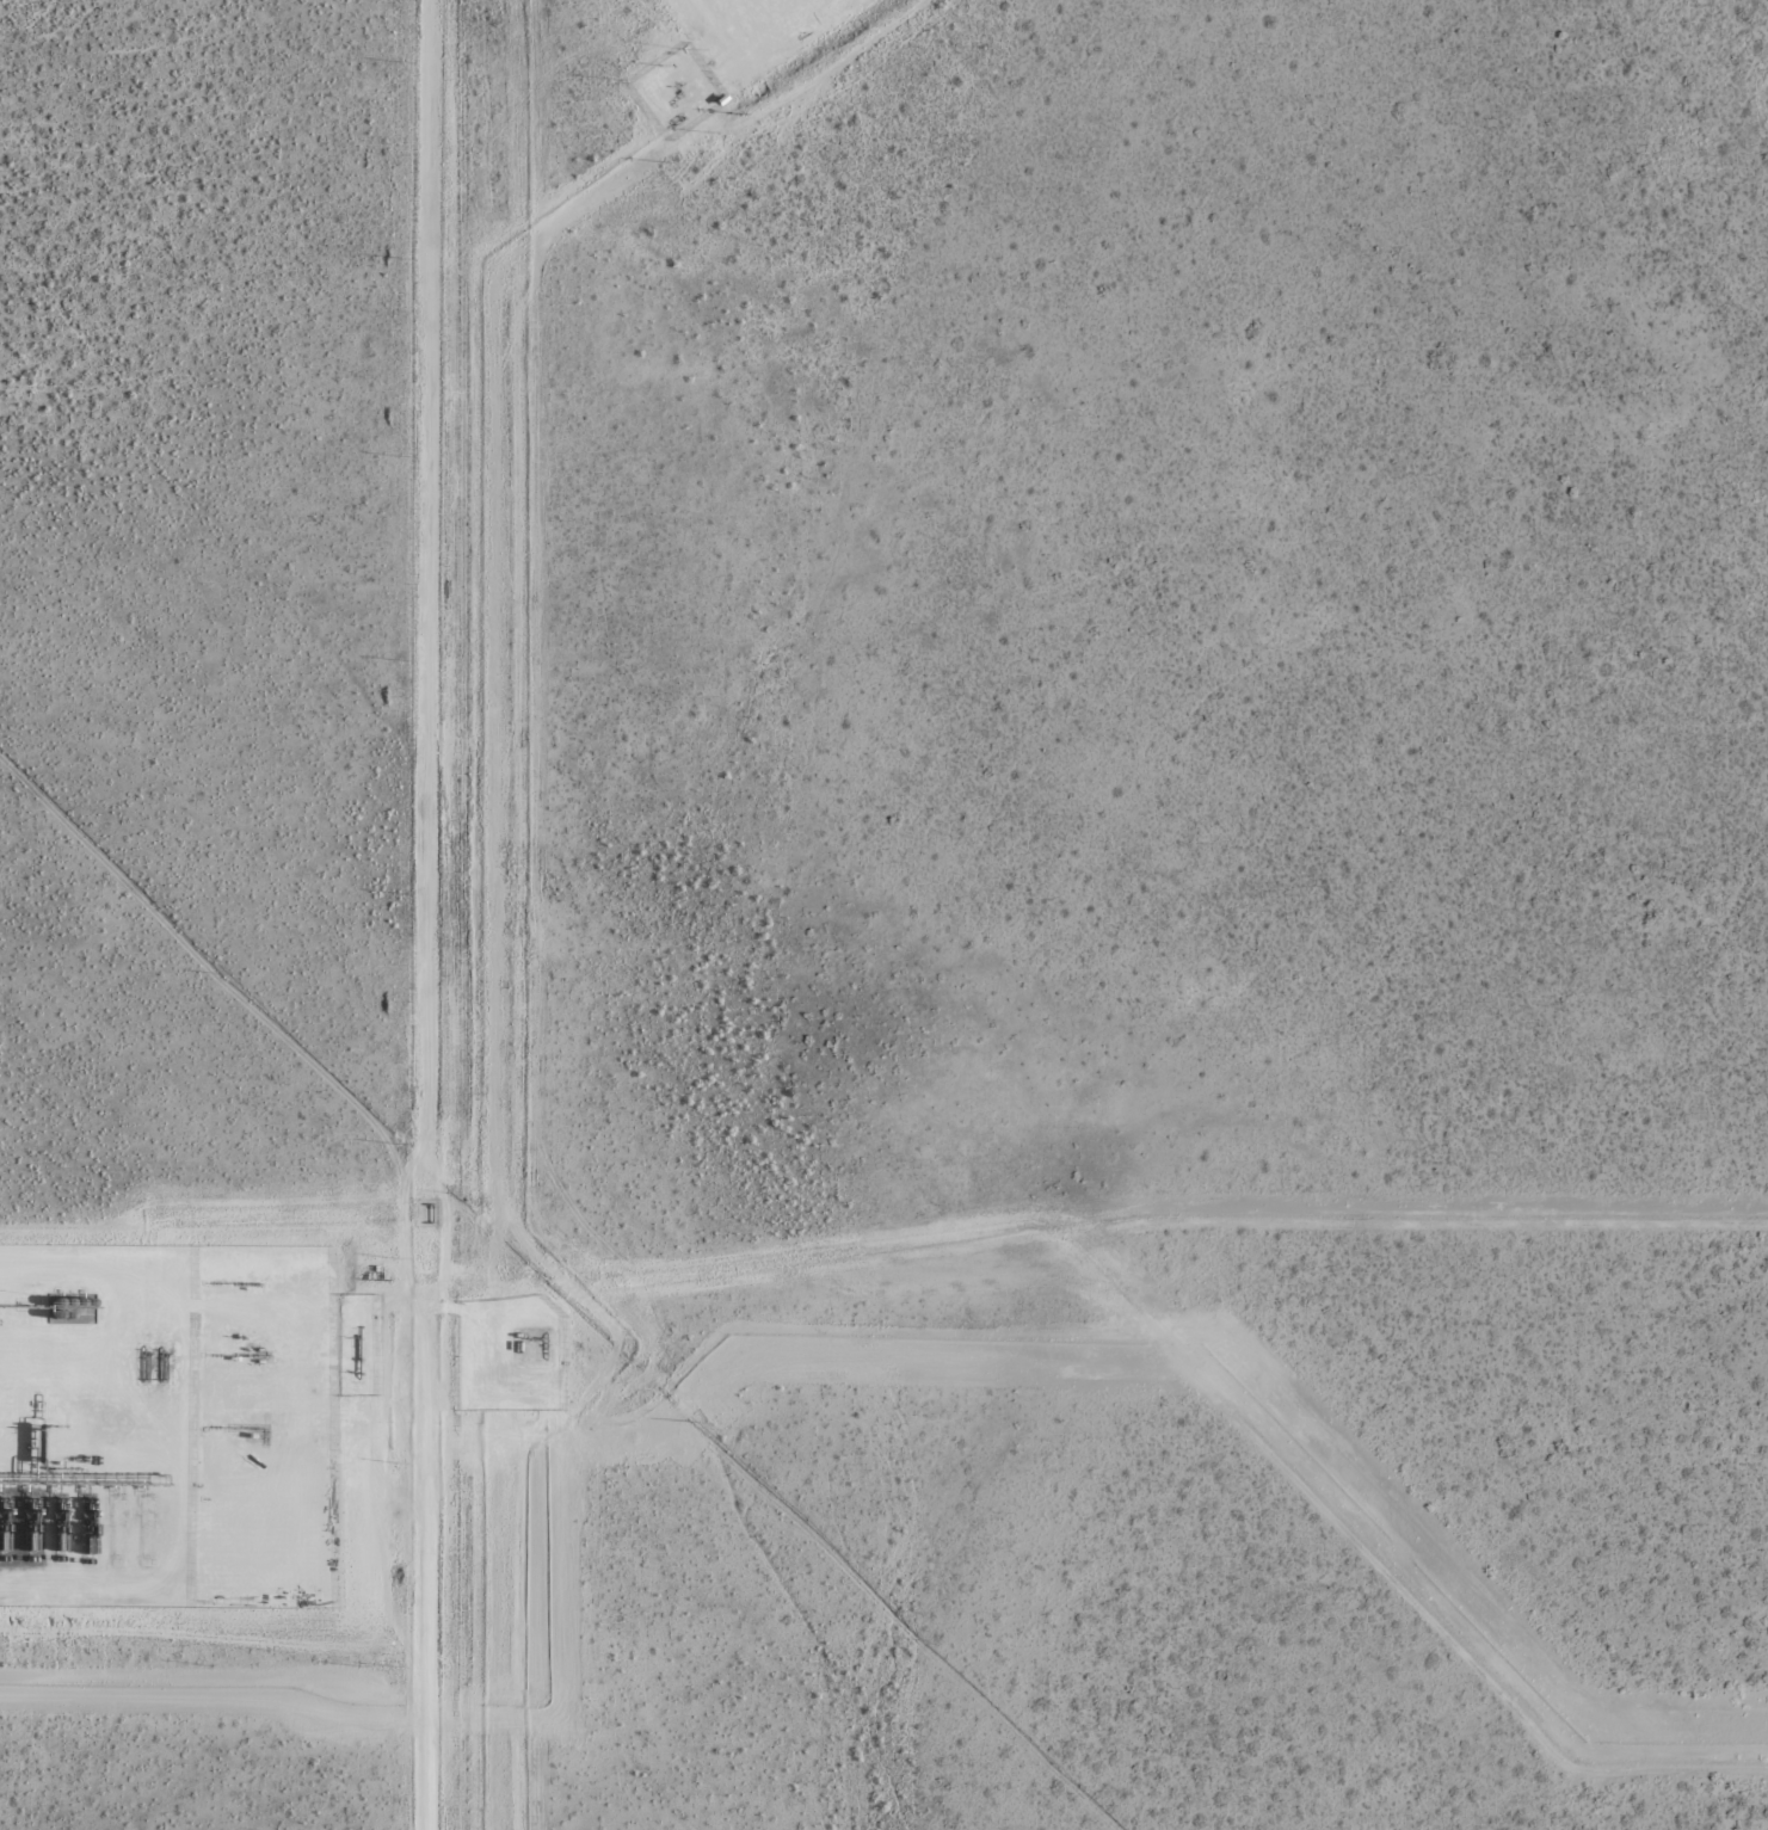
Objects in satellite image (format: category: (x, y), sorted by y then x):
road: (801, 7)
road: (150, 1419)

